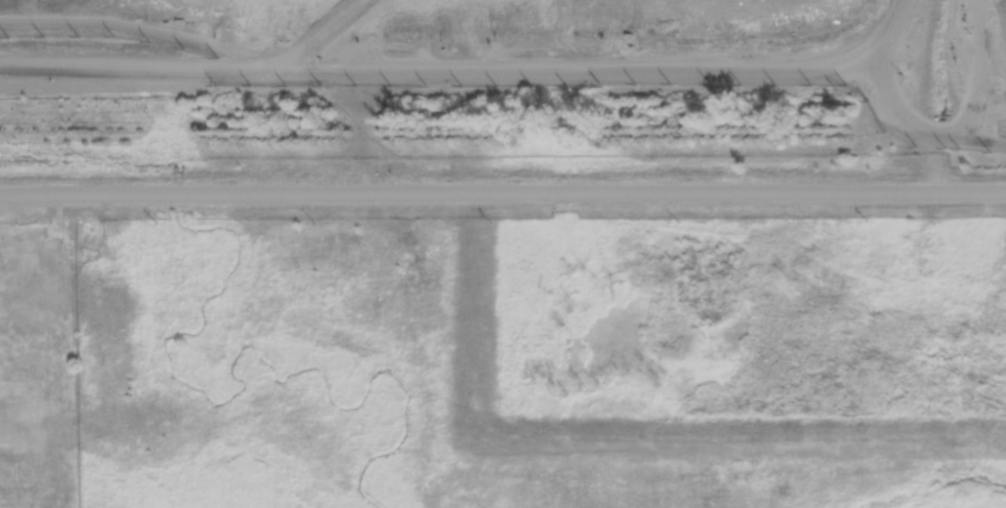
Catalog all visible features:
landfill: (506, 51)
road: (436, 58)
road: (887, 100)
road: (965, 140)
road: (503, 195)
road: (869, 236)

